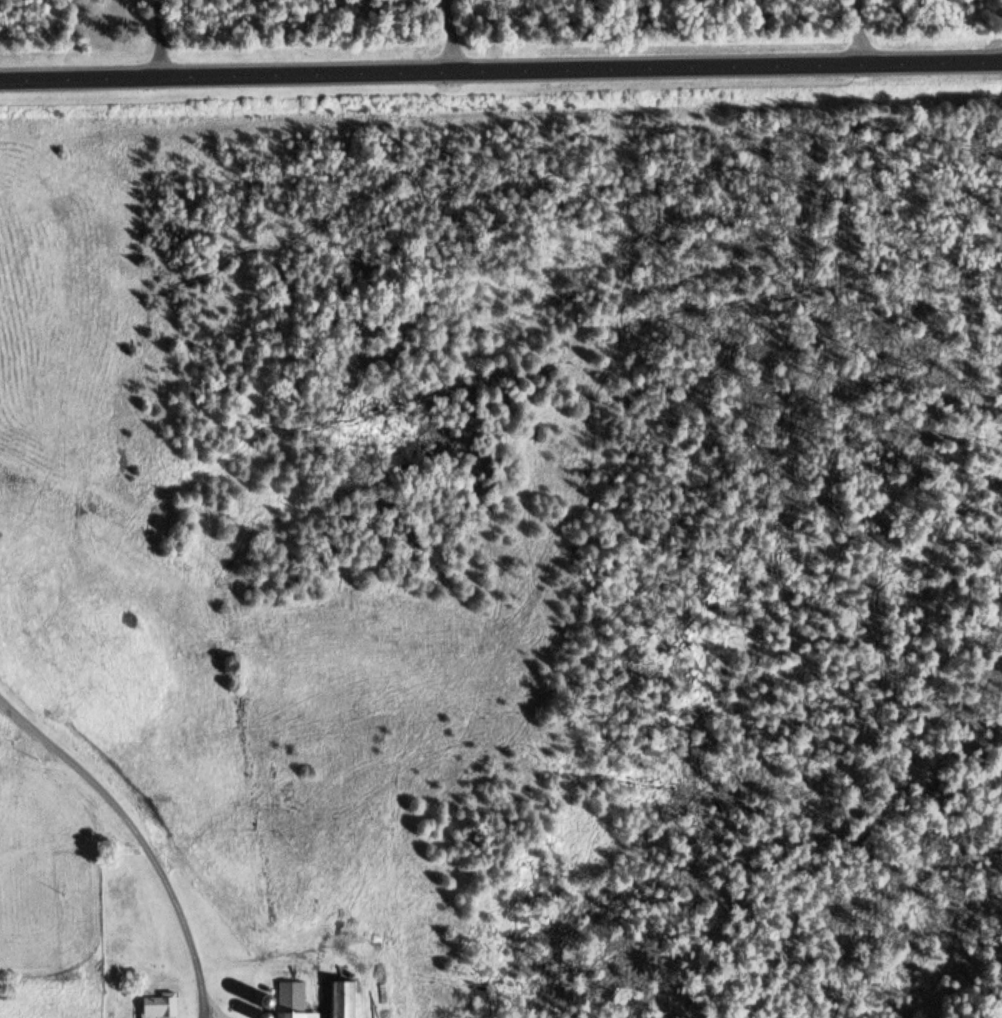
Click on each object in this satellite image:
road: (500, 72)
road: (136, 836)
building: (343, 999)
building: (294, 1001)
building: (162, 1006)

